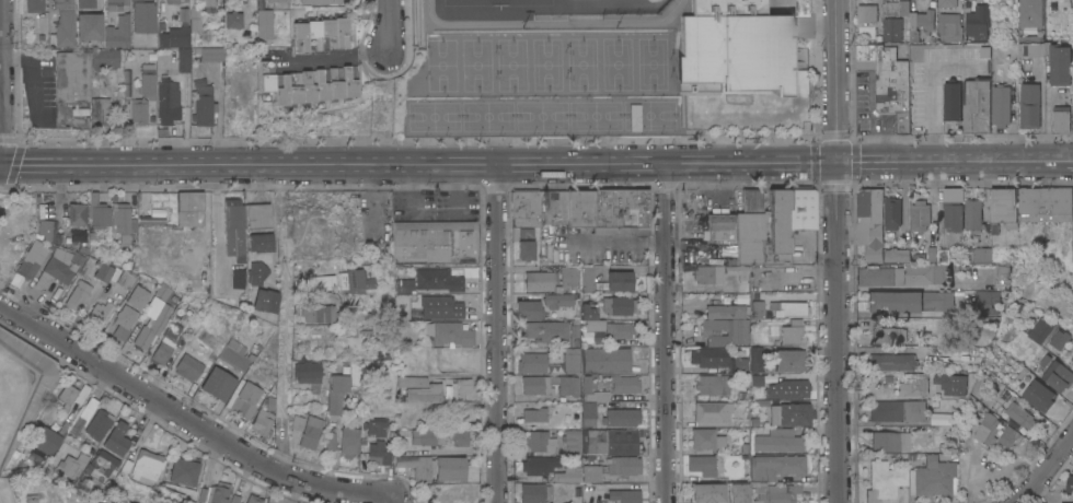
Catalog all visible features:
building: (275, 0)
building: (175, 1)
building: (318, 1)
park: (653, 1)
building: (1072, 1)
building: (84, 3)
building: (114, 3)
building: (947, 3)
building: (33, 5)
building: (208, 5)
building: (897, 8)
building: (1030, 12)
building: (866, 13)
track: (552, 14)
building: (141, 16)
building: (195, 19)
building: (234, 20)
building: (978, 22)
building: (920, 23)
building: (62, 24)
road: (388, 25)
building: (88, 26)
building: (263, 26)
street lamp: (520, 26)
street lamp: (613, 26)
building: (949, 27)
building: (892, 28)
road: (817, 31)
building: (116, 32)
building: (321, 33)
building: (173, 37)
street lamp: (409, 37)
building: (734, 46)
street lamp: (495, 51)
street lamp: (564, 51)
building: (984, 51)
road: (334, 56)
road: (404, 56)
street lamp: (669, 56)
building: (210, 57)
building: (1051, 59)
road: (797, 61)
building: (107, 62)
park: (546, 63)
park: (581, 63)
park: (616, 63)
park: (651, 63)
park: (441, 65)
park: (476, 65)
park: (511, 65)
road: (791, 70)
street lamp: (670, 75)
building: (71, 77)
street lamp: (425, 77)
street lamp: (495, 77)
street lamp: (565, 77)
building: (147, 81)
building: (888, 81)
building: (305, 84)
building: (1072, 95)
street lamp: (659, 96)
street lamp: (585, 97)
street lamp: (604, 97)
street lamp: (638, 97)
street lamp: (443, 98)
street lamp: (477, 98)
street lamp: (496, 98)
street lamp: (531, 98)
street lamp: (552, 98)
street lamp: (424, 100)
building: (165, 101)
road: (685, 104)
building: (1001, 105)
building: (203, 106)
building: (967, 106)
building: (1030, 106)
building: (97, 110)
building: (137, 110)
park: (595, 115)
park: (648, 115)
park: (432, 116)
park: (487, 116)
park: (541, 116)
building: (634, 117)
building: (1061, 120)
street lamp: (748, 127)
street lamp: (697, 129)
street lamp: (498, 131)
street lamp: (605, 131)
street lamp: (638, 131)
street lamp: (659, 131)
street lamp: (849, 131)
street lamp: (477, 132)
street lamp: (531, 132)
street lamp: (552, 132)
street lamp: (586, 132)
street lamp: (424, 133)
street lamp: (443, 133)
road: (795, 138)
street lamp: (769, 140)
street lamp: (670, 142)
street lamp: (302, 143)
street lamp: (391, 143)
street lamp: (485, 143)
street lamp: (582, 143)
road: (951, 164)
road: (416, 165)
road: (853, 185)
building: (1045, 203)
building: (1004, 206)
building: (553, 207)
building: (579, 207)
building: (189, 208)
building: (526, 208)
building: (620, 208)
building: (801, 208)
building: (953, 209)
building: (921, 211)
building: (892, 213)
building: (96, 215)
building: (256, 215)
building: (972, 215)
building: (77, 221)
building: (122, 221)
building: (869, 223)
building: (720, 225)
building: (232, 227)
building: (775, 227)
building: (749, 229)
building: (47, 231)
building: (257, 242)
building: (434, 242)
road: (618, 242)
building: (526, 244)
building: (77, 245)
building: (922, 245)
road: (834, 250)
building: (982, 254)
building: (1072, 254)
building: (896, 255)
building: (943, 256)
building: (32, 260)
building: (86, 266)
building: (58, 267)
building: (102, 270)
building: (252, 272)
building: (720, 272)
building: (925, 273)
building: (875, 276)
building: (899, 277)
building: (1001, 277)
building: (232, 279)
building: (355, 279)
building: (438, 279)
building: (126, 280)
building: (552, 280)
building: (315, 282)
building: (404, 285)
building: (162, 291)
building: (79, 295)
building: (224, 299)
building: (557, 300)
building: (261, 301)
building: (909, 301)
building: (987, 302)
building: (608, 304)
building: (440, 307)
building: (757, 308)
building: (788, 308)
building: (527, 309)
building: (129, 312)
building: (99, 313)
building: (312, 314)
road: (887, 314)
building: (152, 328)
building: (1038, 329)
building: (554, 331)
building: (448, 334)
road: (498, 334)
road: (667, 334)
building: (791, 335)
building: (889, 335)
building: (723, 337)
building: (1060, 339)
building: (165, 347)
building: (233, 359)
building: (755, 359)
building: (572, 360)
building: (604, 360)
building: (786, 361)
building: (532, 362)
building: (891, 362)
building: (192, 364)
building: (554, 367)
building: (304, 372)
building: (1058, 375)
building: (757, 379)
building: (408, 381)
building: (586, 383)
building: (914, 383)
building: (218, 384)
building: (713, 384)
building: (951, 384)
building: (550, 385)
building: (624, 385)
building: (462, 387)
road: (139, 388)
building: (787, 388)
building: (334, 393)
building: (424, 393)
building: (67, 395)
building: (1039, 396)
building: (244, 399)
building: (943, 405)
building: (1018, 409)
building: (85, 410)
building: (897, 410)
building: (605, 411)
building: (711, 411)
building: (791, 413)
building: (535, 414)
building: (262, 421)
building: (296, 422)
building: (97, 424)
building: (373, 425)
building: (989, 429)
building: (310, 432)
building: (422, 436)
building: (1011, 436)
building: (458, 437)
building: (117, 438)
building: (705, 438)
building: (45, 440)
building: (330, 441)
building: (348, 441)
building: (540, 441)
building: (609, 441)
building: (777, 441)
building: (890, 441)
building: (573, 443)
building: (379, 452)
building: (103, 461)
building: (147, 464)
building: (540, 465)
building: (624, 465)
building: (701, 465)
building: (777, 465)
building: (68, 467)
building: (431, 467)
building: (182, 469)
road: (1046, 469)
building: (590, 472)
building: (567, 475)
building: (934, 478)
building: (884, 480)
building: (1070, 480)
road: (335, 486)
building: (574, 492)
building: (219, 493)
building: (535, 493)
building: (773, 493)
building: (461, 495)
building: (624, 495)
building: (31, 499)
building: (254, 499)
building: (119, 502)

